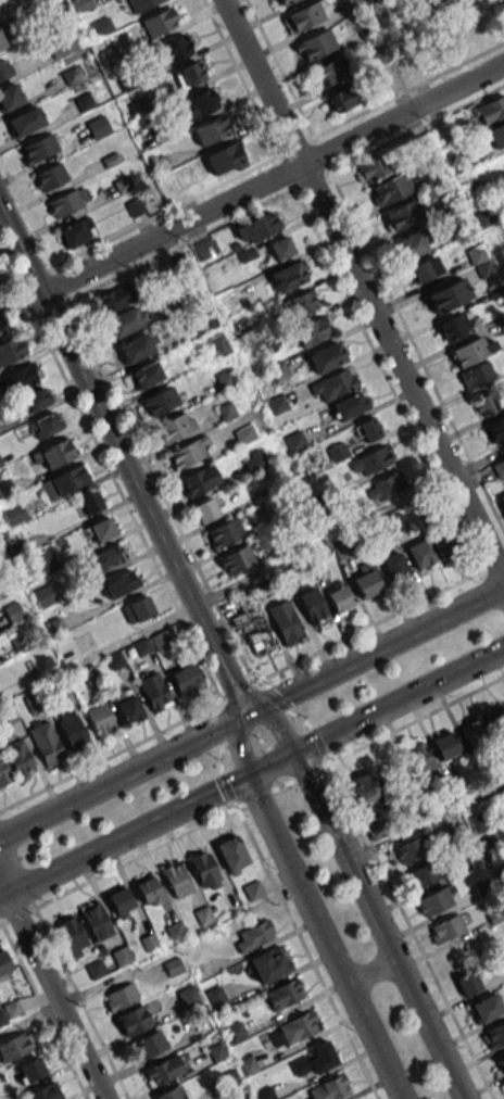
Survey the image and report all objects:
building: (436, 0)
building: (282, 2)
building: (140, 3)
building: (455, 14)
building: (305, 15)
building: (159, 22)
building: (101, 26)
building: (1, 41)
building: (314, 45)
building: (61, 46)
building: (172, 50)
building: (2, 70)
building: (327, 72)
building: (191, 73)
building: (10, 96)
building: (341, 99)
building: (200, 102)
building: (491, 110)
building: (24, 122)
building: (97, 126)
building: (211, 130)
building: (495, 135)
building: (39, 148)
building: (219, 159)
building: (370, 169)
building: (50, 176)
road: (251, 188)
building: (390, 188)
building: (64, 203)
building: (134, 206)
road: (378, 211)
building: (402, 214)
building: (256, 228)
building: (74, 233)
building: (412, 243)
building: (281, 248)
building: (424, 268)
building: (287, 276)
road: (362, 291)
building: (448, 295)
building: (114, 299)
building: (300, 303)
building: (229, 304)
building: (126, 320)
building: (453, 326)
building: (312, 330)
building: (138, 345)
building: (216, 345)
building: (11, 349)
building: (471, 351)
building: (326, 356)
building: (146, 374)
building: (476, 375)
building: (21, 377)
building: (333, 384)
building: (36, 399)
building: (160, 401)
building: (350, 405)
building: (486, 405)
building: (226, 412)
building: (45, 425)
building: (175, 426)
building: (495, 428)
building: (368, 430)
building: (243, 433)
building: (294, 440)
building: (189, 452)
building: (337, 452)
building: (54, 453)
building: (253, 459)
building: (370, 460)
road: (123, 462)
building: (64, 480)
building: (201, 480)
building: (385, 485)
building: (502, 498)
building: (90, 502)
building: (205, 509)
building: (14, 514)
building: (99, 530)
building: (227, 532)
building: (444, 547)
building: (420, 554)
building: (109, 556)
building: (236, 559)
building: (394, 566)
building: (366, 582)
building: (121, 583)
building: (42, 596)
building: (339, 598)
building: (312, 605)
building: (138, 608)
road: (378, 620)
building: (285, 622)
building: (252, 631)
building: (162, 640)
building: (66, 648)
road: (375, 650)
building: (187, 678)
building: (154, 691)
road: (399, 700)
building: (126, 704)
traffic signals: (247, 715)
building: (100, 718)
building: (495, 724)
road: (275, 728)
building: (72, 729)
building: (474, 735)
road: (369, 741)
building: (46, 742)
road: (237, 745)
building: (444, 745)
traffic signals: (294, 754)
building: (18, 757)
building: (420, 761)
road: (269, 766)
building: (3, 774)
road: (123, 775)
traffic signals: (244, 778)
building: (364, 786)
road: (122, 838)
building: (411, 849)
building: (232, 854)
road: (343, 855)
building: (204, 869)
building: (421, 874)
building: (176, 879)
building: (252, 889)
building: (149, 890)
building: (437, 900)
building: (121, 901)
building: (203, 914)
building: (96, 921)
building: (445, 929)
building: (73, 935)
building: (253, 935)
road: (322, 938)
building: (121, 956)
building: (270, 963)
building: (4, 965)
road: (368, 969)
building: (469, 982)
road: (51, 991)
building: (283, 994)
building: (188, 996)
building: (119, 997)
building: (215, 997)
building: (487, 1007)
building: (12, 1008)
building: (133, 1021)
road: (427, 1027)
building: (294, 1028)
building: (235, 1033)
building: (493, 1036)
building: (149, 1045)
building: (14, 1047)
building: (313, 1060)
building: (500, 1062)
building: (30, 1069)
building: (163, 1070)
building: (46, 1092)
building: (171, 1094)

